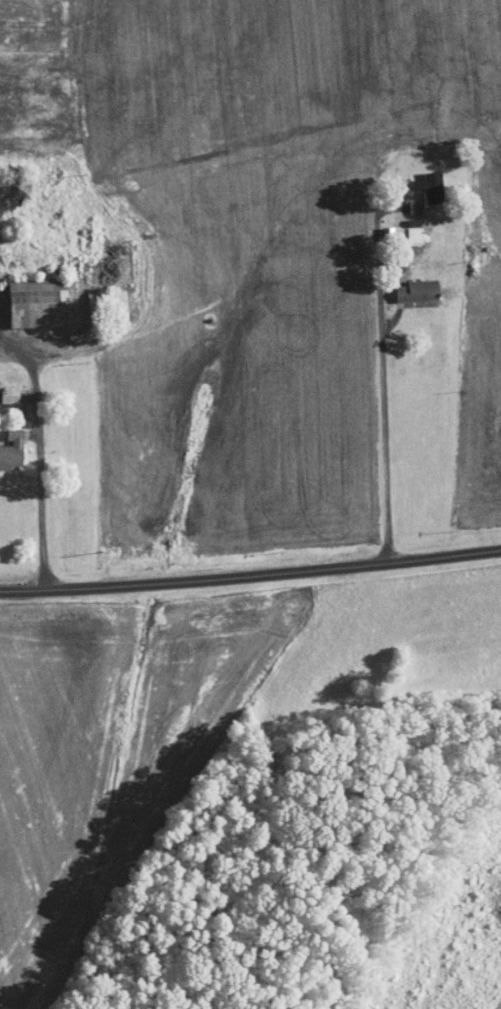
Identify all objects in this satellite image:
building: (424, 180)
building: (406, 200)
building: (385, 226)
building: (406, 229)
building: (410, 284)
building: (30, 296)
road: (391, 319)
road: (383, 365)
road: (36, 385)
building: (5, 388)
road: (82, 436)
building: (7, 440)
road: (45, 516)
road: (250, 570)

